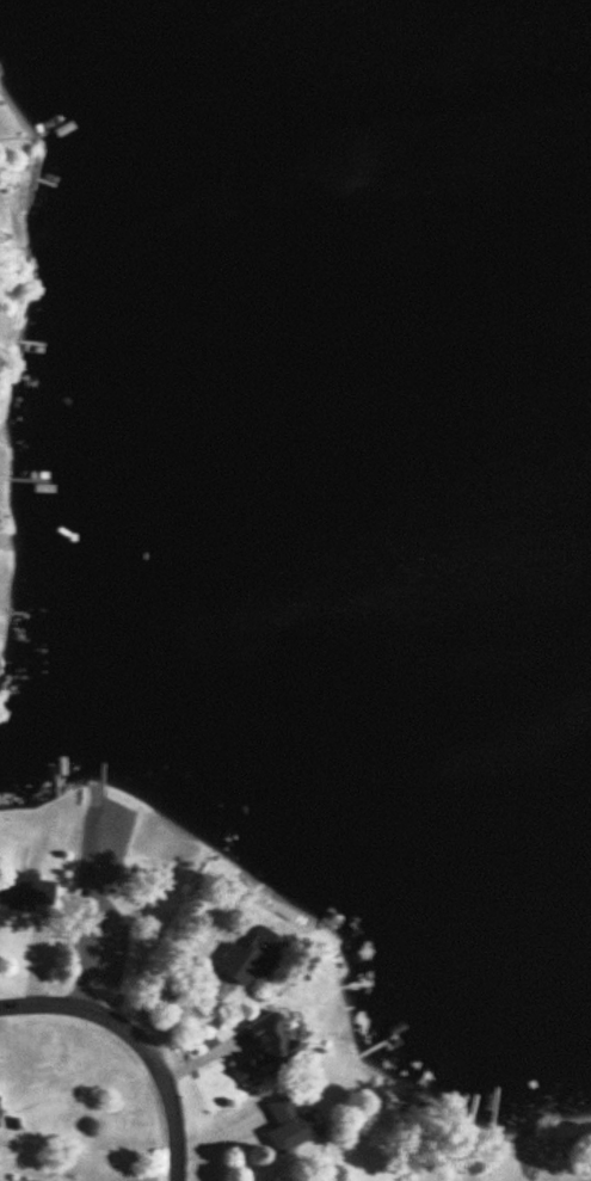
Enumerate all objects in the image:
pier: (98, 774)
road: (88, 792)
building: (26, 891)
road: (82, 902)
parking lot: (109, 939)
building: (250, 955)
road: (141, 1038)
building: (266, 1045)
building: (287, 1122)

